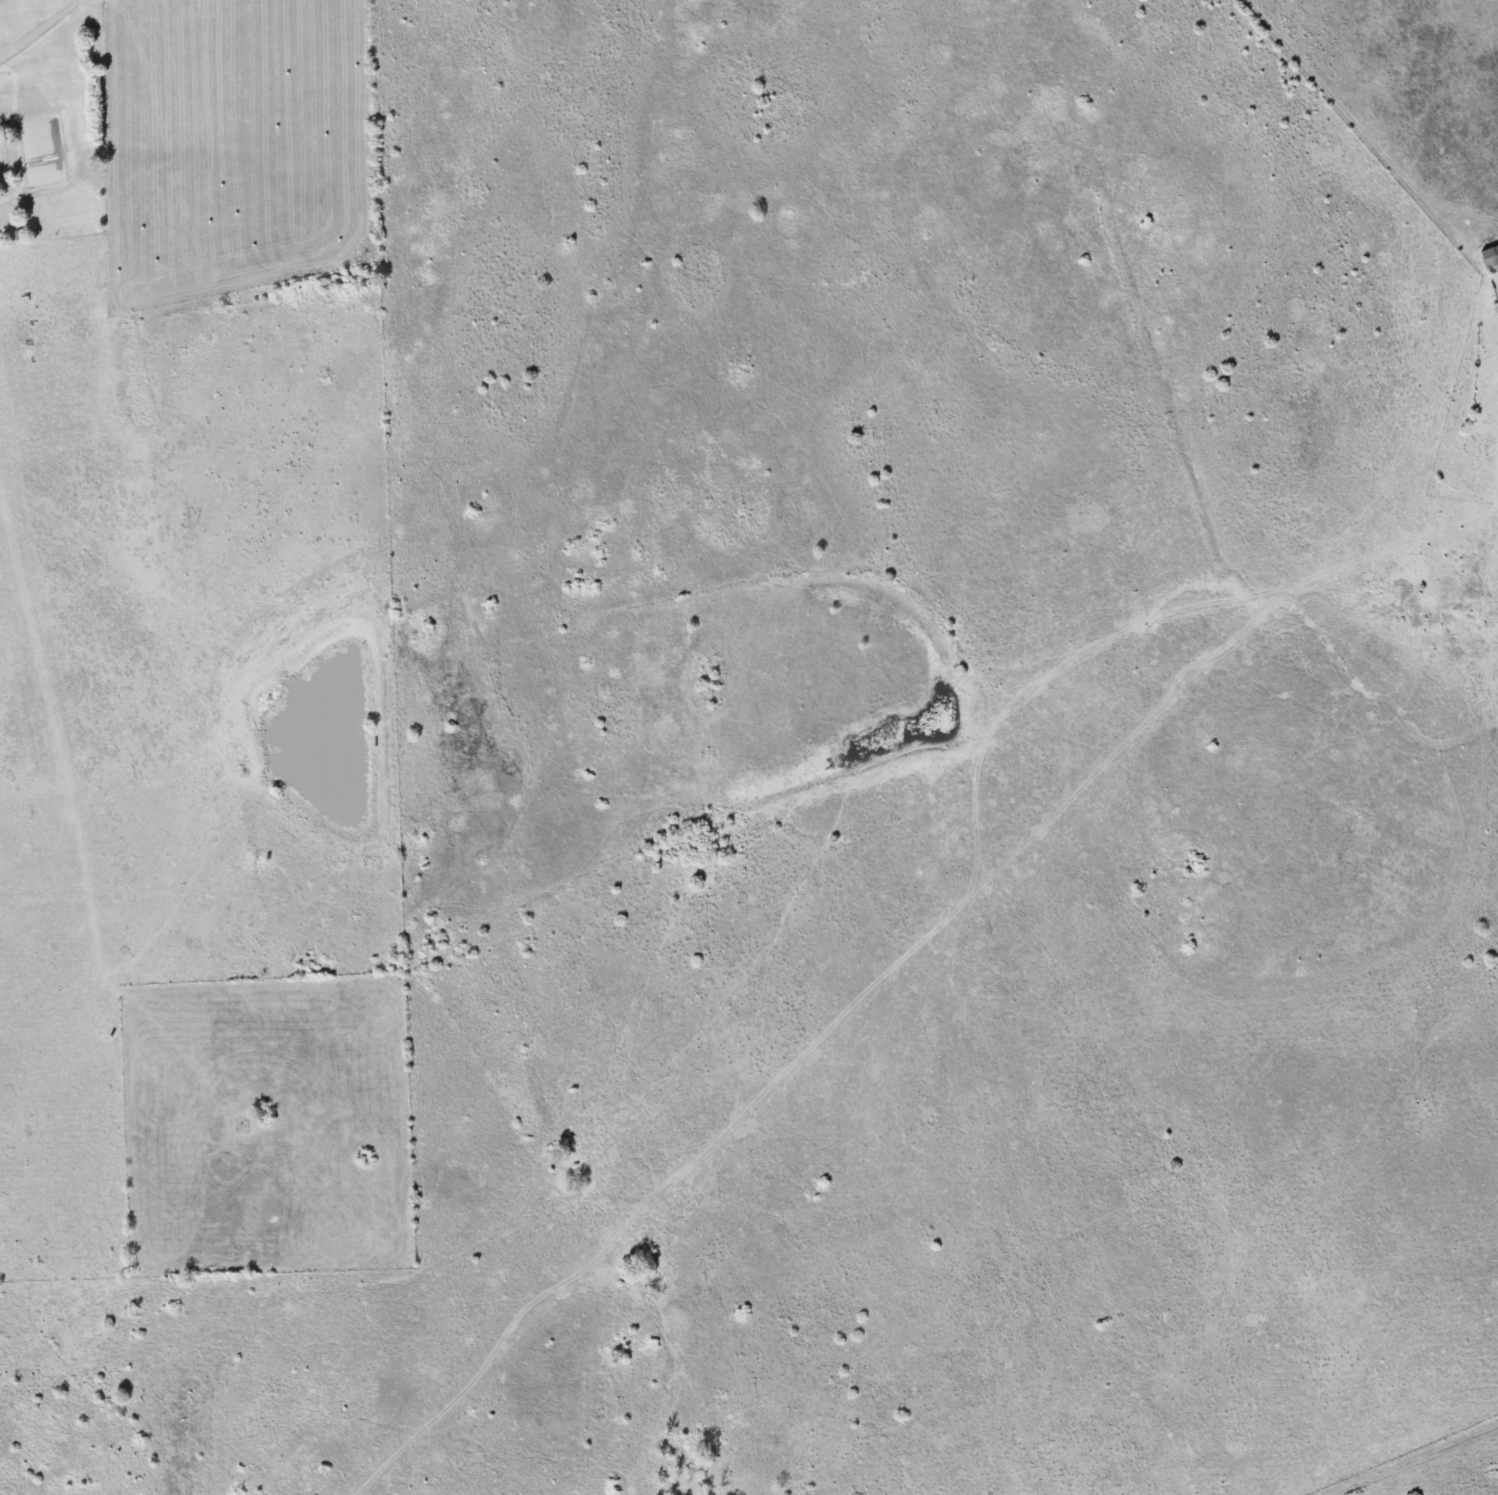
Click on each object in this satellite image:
building: (1493, 257)

